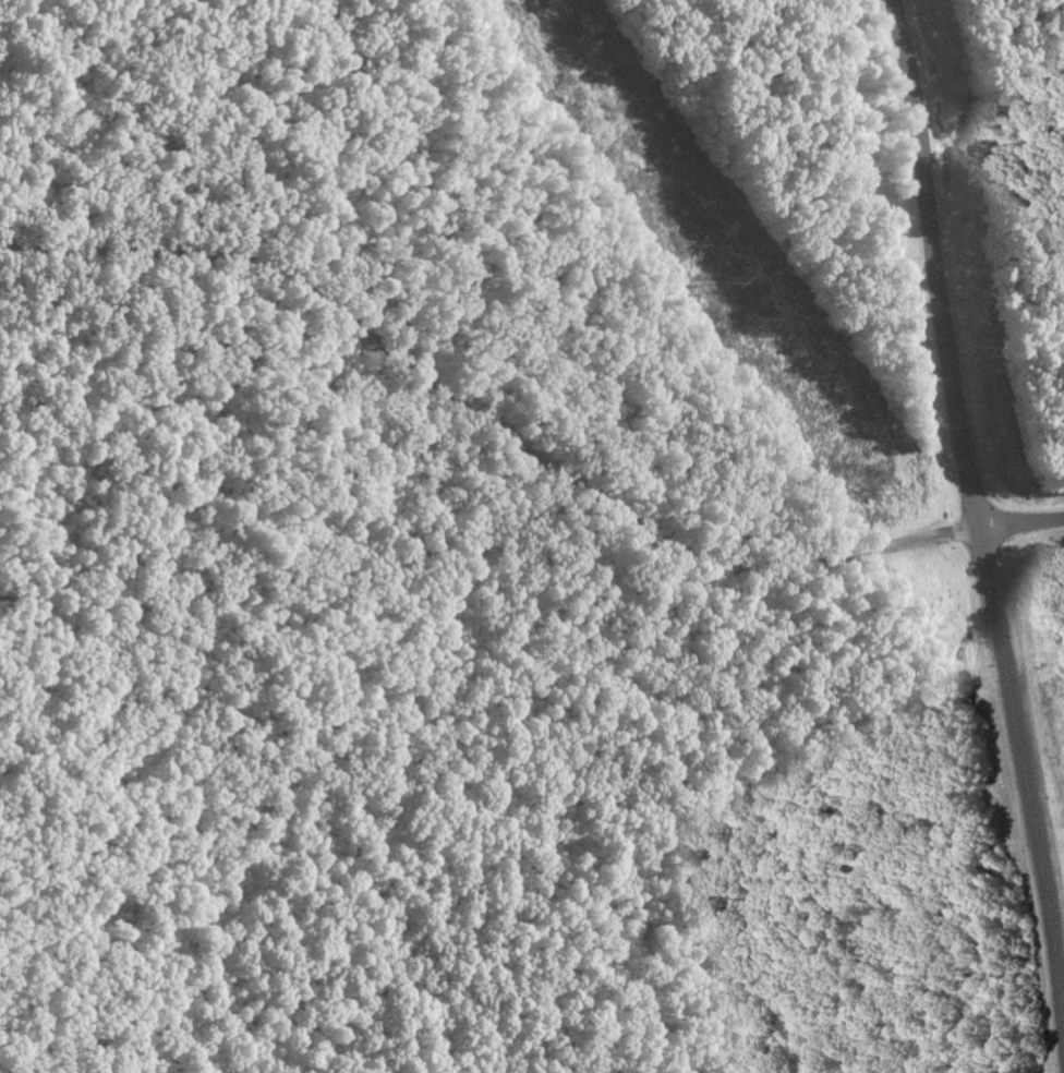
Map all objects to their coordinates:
power tower: (734, 280)
road: (488, 421)
power tower: (885, 493)
road: (977, 507)
road: (1023, 526)

